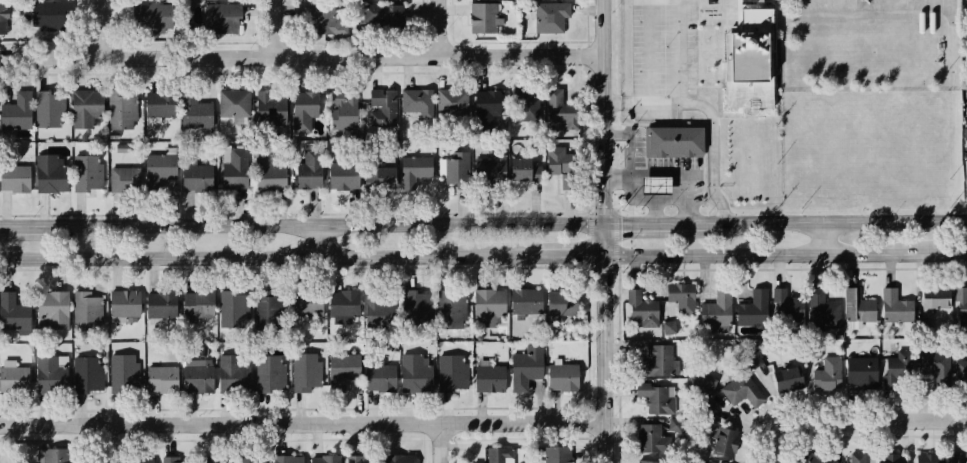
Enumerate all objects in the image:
building: (204, 0)
building: (550, 15)
building: (8, 16)
building: (50, 16)
building: (393, 17)
building: (157, 18)
building: (327, 18)
building: (485, 18)
building: (225, 19)
road: (273, 28)
road: (437, 28)
road: (101, 29)
road: (301, 57)
road: (681, 59)
building: (745, 60)
building: (966, 92)
building: (455, 99)
building: (418, 100)
building: (491, 101)
building: (236, 102)
building: (526, 103)
building: (164, 105)
building: (88, 107)
building: (51, 108)
building: (308, 108)
building: (386, 108)
building: (123, 109)
building: (272, 109)
building: (198, 110)
building: (560, 110)
building: (21, 111)
building: (347, 111)
road: (709, 115)
building: (965, 133)
building: (111, 134)
building: (966, 138)
building: (672, 141)
building: (121, 148)
building: (561, 154)
building: (458, 167)
building: (486, 167)
building: (239, 168)
building: (421, 168)
building: (521, 169)
building: (966, 169)
building: (314, 170)
building: (89, 172)
building: (164, 172)
building: (53, 173)
building: (272, 174)
building: (348, 175)
building: (391, 176)
building: (18, 177)
building: (199, 177)
road: (618, 178)
building: (127, 179)
building: (650, 182)
road: (632, 194)
road: (654, 212)
road: (832, 225)
traffic signals: (606, 227)
road: (652, 227)
road: (302, 228)
road: (605, 231)
road: (823, 241)
road: (313, 242)
road: (254, 256)
road: (784, 257)
road: (556, 259)
traffic signals: (603, 261)
road: (695, 268)
building: (680, 298)
building: (932, 298)
building: (524, 301)
building: (305, 302)
building: (414, 302)
building: (201, 303)
building: (561, 303)
building: (127, 304)
building: (164, 304)
building: (342, 304)
building: (236, 305)
building: (269, 305)
building: (894, 305)
building: (961, 305)
building: (91, 306)
building: (488, 306)
building: (787, 306)
building: (857, 307)
building: (56, 308)
building: (450, 309)
building: (639, 309)
building: (716, 310)
building: (753, 310)
building: (823, 311)
building: (374, 312)
building: (17, 314)
building: (669, 327)
building: (814, 351)
building: (753, 357)
building: (658, 362)
building: (935, 362)
building: (526, 366)
building: (898, 368)
building: (961, 369)
building: (339, 370)
building: (862, 370)
building: (304, 371)
building: (50, 372)
building: (267, 372)
building: (412, 372)
building: (827, 372)
building: (450, 373)
building: (122, 374)
building: (231, 374)
building: (86, 375)
building: (195, 377)
building: (378, 377)
building: (561, 377)
building: (13, 378)
building: (488, 378)
building: (789, 379)
building: (162, 380)
building: (705, 384)
building: (742, 389)
building: (656, 399)
road: (841, 406)
building: (704, 408)
road: (898, 419)
road: (305, 421)
road: (784, 424)
building: (674, 426)
road: (861, 435)
building: (649, 436)
road: (445, 441)
road: (106, 442)
building: (723, 442)
building: (554, 454)
building: (52, 455)
building: (497, 455)
building: (204, 458)
building: (808, 458)
building: (855, 458)
building: (889, 458)
building: (930, 458)
building: (957, 458)
building: (356, 459)
building: (399, 459)
building: (176, 460)
building: (248, 460)
building: (285, 460)
building: (323, 460)
building: (647, 461)
building: (138, 462)
building: (701, 462)

